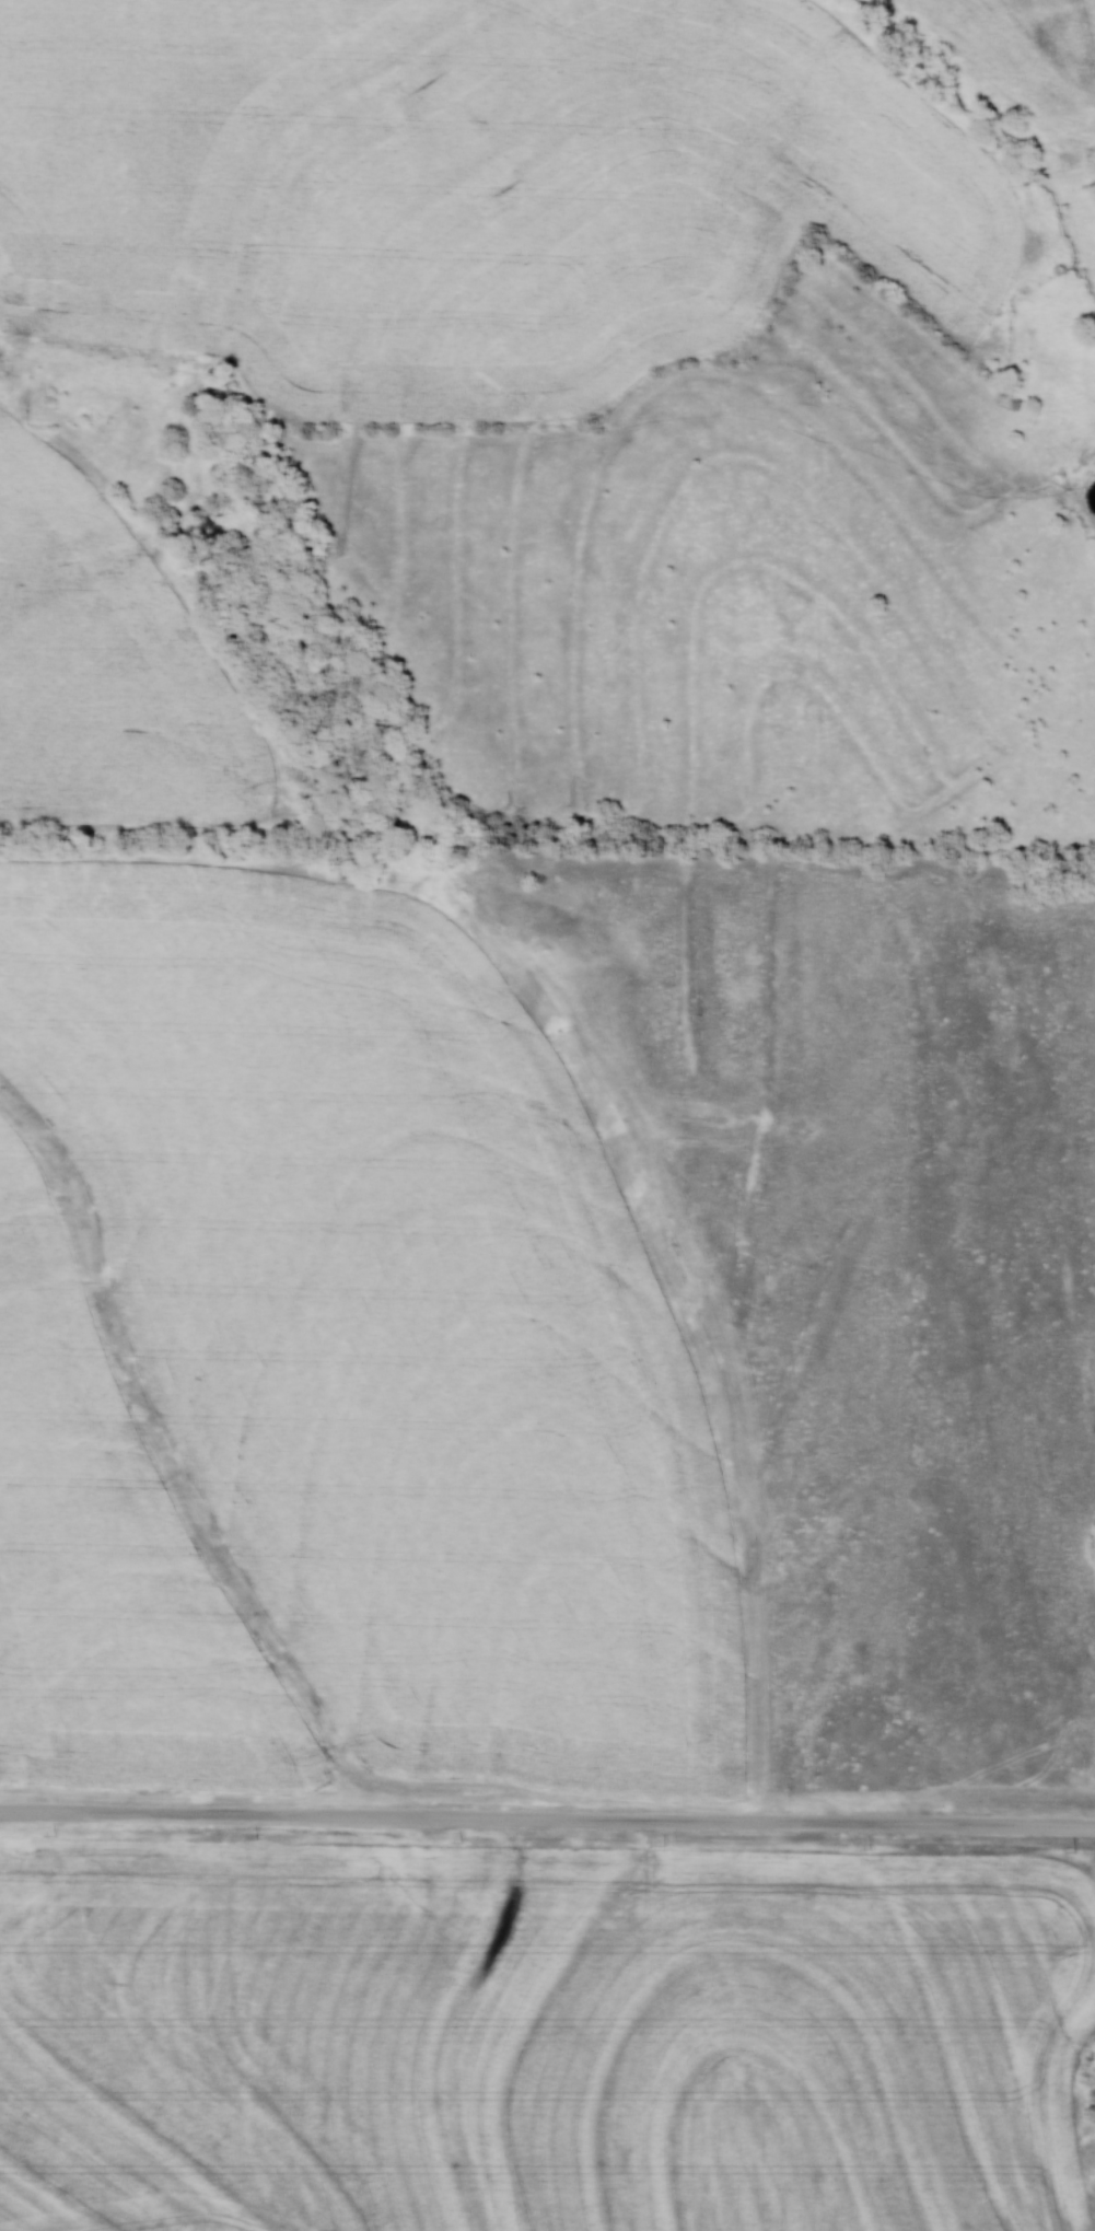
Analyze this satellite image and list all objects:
road: (547, 1824)

